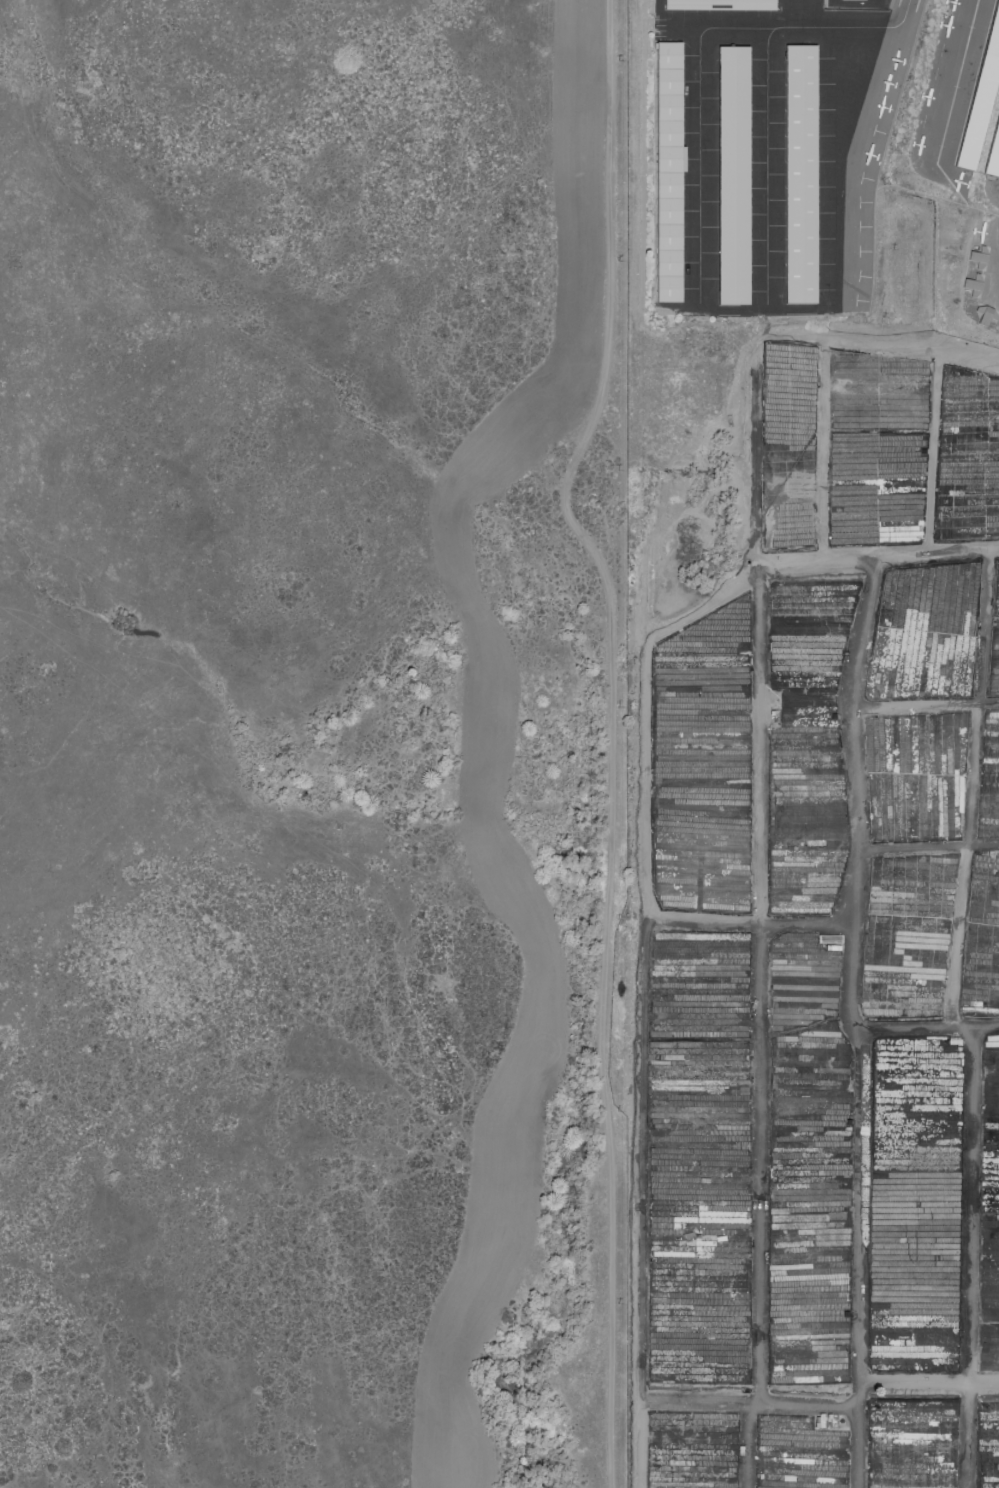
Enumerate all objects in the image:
building: (852, 0)
building: (720, 5)
airport taxiway: (700, 53)
airport taxiway: (957, 81)
building: (981, 98)
building: (994, 154)
airport: (815, 164)
airport taxiway: (849, 164)
airport taxiway: (767, 168)
building: (669, 172)
building: (801, 175)
building: (733, 176)
road: (611, 734)

